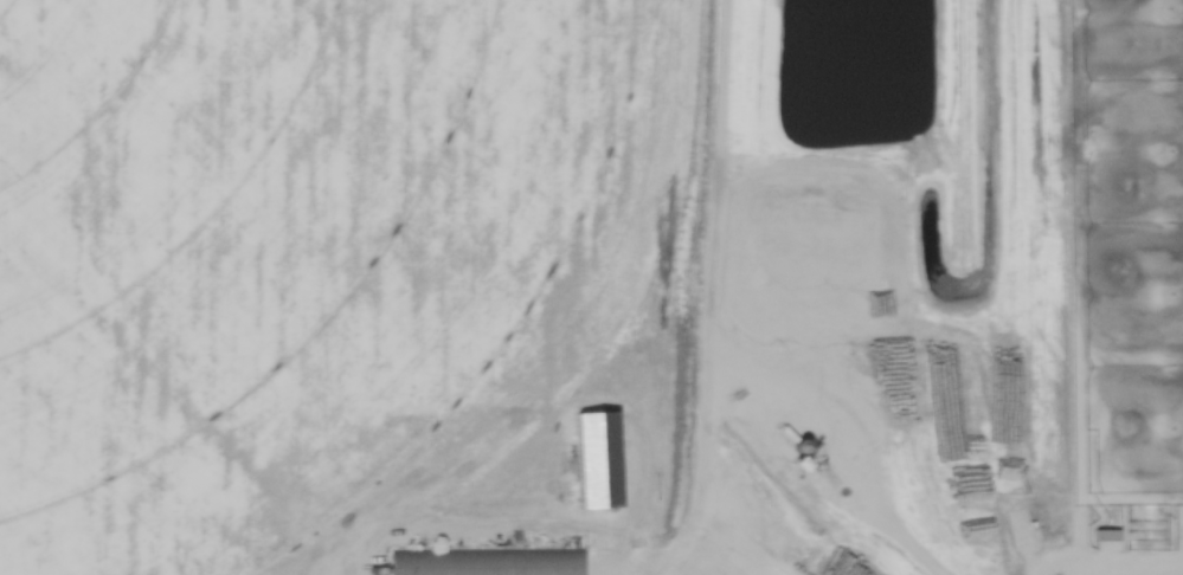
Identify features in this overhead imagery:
building: (857, 240)
building: (804, 446)
building: (1107, 540)
building: (484, 561)
road: (1157, 568)

